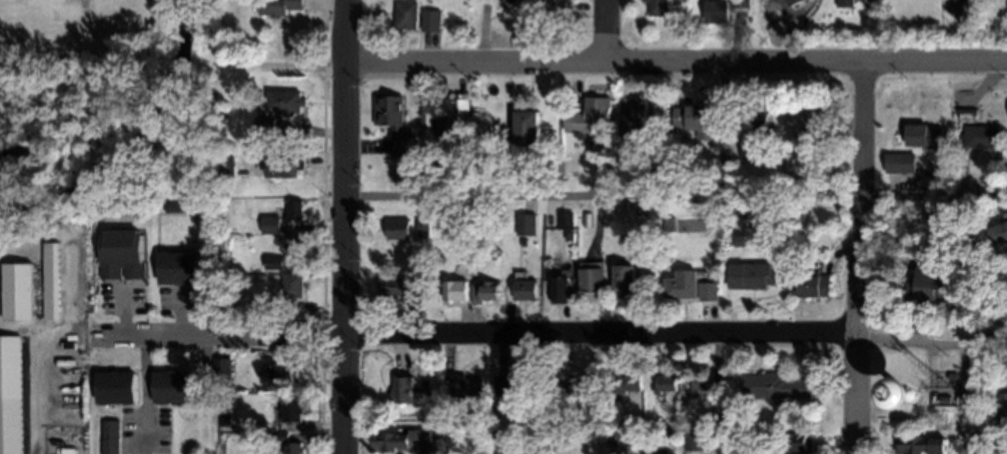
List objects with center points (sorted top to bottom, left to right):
building: (956, 0)
building: (509, 1)
building: (862, 2)
building: (742, 3)
building: (844, 3)
building: (658, 7)
building: (273, 8)
building: (555, 8)
building: (719, 11)
building: (407, 15)
building: (431, 21)
road: (607, 31)
road: (674, 63)
building: (286, 103)
building: (589, 112)
building: (757, 115)
building: (630, 117)
building: (694, 118)
river: (133, 120)
building: (447, 120)
building: (643, 121)
building: (393, 122)
building: (529, 122)
building: (266, 127)
building: (808, 128)
building: (925, 137)
building: (982, 137)
building: (752, 143)
building: (599, 147)
building: (901, 164)
building: (227, 166)
building: (286, 167)
building: (527, 170)
road: (598, 201)
building: (792, 201)
building: (187, 207)
building: (294, 212)
building: (566, 220)
building: (587, 221)
building: (669, 224)
building: (271, 225)
building: (526, 225)
road: (341, 226)
building: (422, 227)
building: (399, 228)
building: (1000, 235)
building: (571, 236)
building: (523, 242)
building: (293, 247)
building: (125, 254)
road: (864, 258)
road: (71, 262)
building: (274, 263)
building: (180, 267)
building: (753, 274)
building: (594, 277)
building: (627, 278)
building: (54, 281)
building: (686, 282)
building: (393, 284)
building: (814, 284)
building: (293, 286)
building: (930, 286)
building: (563, 287)
building: (457, 288)
building: (527, 289)
building: (711, 289)
building: (488, 290)
building: (20, 292)
building: (286, 304)
road: (554, 337)
building: (222, 368)
road: (36, 374)
building: (281, 376)
road: (143, 381)
building: (429, 382)
building: (517, 384)
building: (630, 384)
building: (668, 384)
building: (702, 384)
building: (118, 387)
building: (174, 387)
building: (780, 387)
building: (468, 388)
building: (404, 390)
building: (584, 393)
building: (11, 394)
road: (722, 395)
road: (206, 397)
water tower: (911, 398)
building: (948, 400)
building: (892, 401)
building: (290, 411)
building: (1001, 411)
building: (282, 437)
building: (619, 437)
building: (661, 437)
building: (111, 438)
building: (796, 439)
building: (697, 440)
building: (406, 441)
building: (922, 445)
building: (293, 448)
building: (771, 453)

